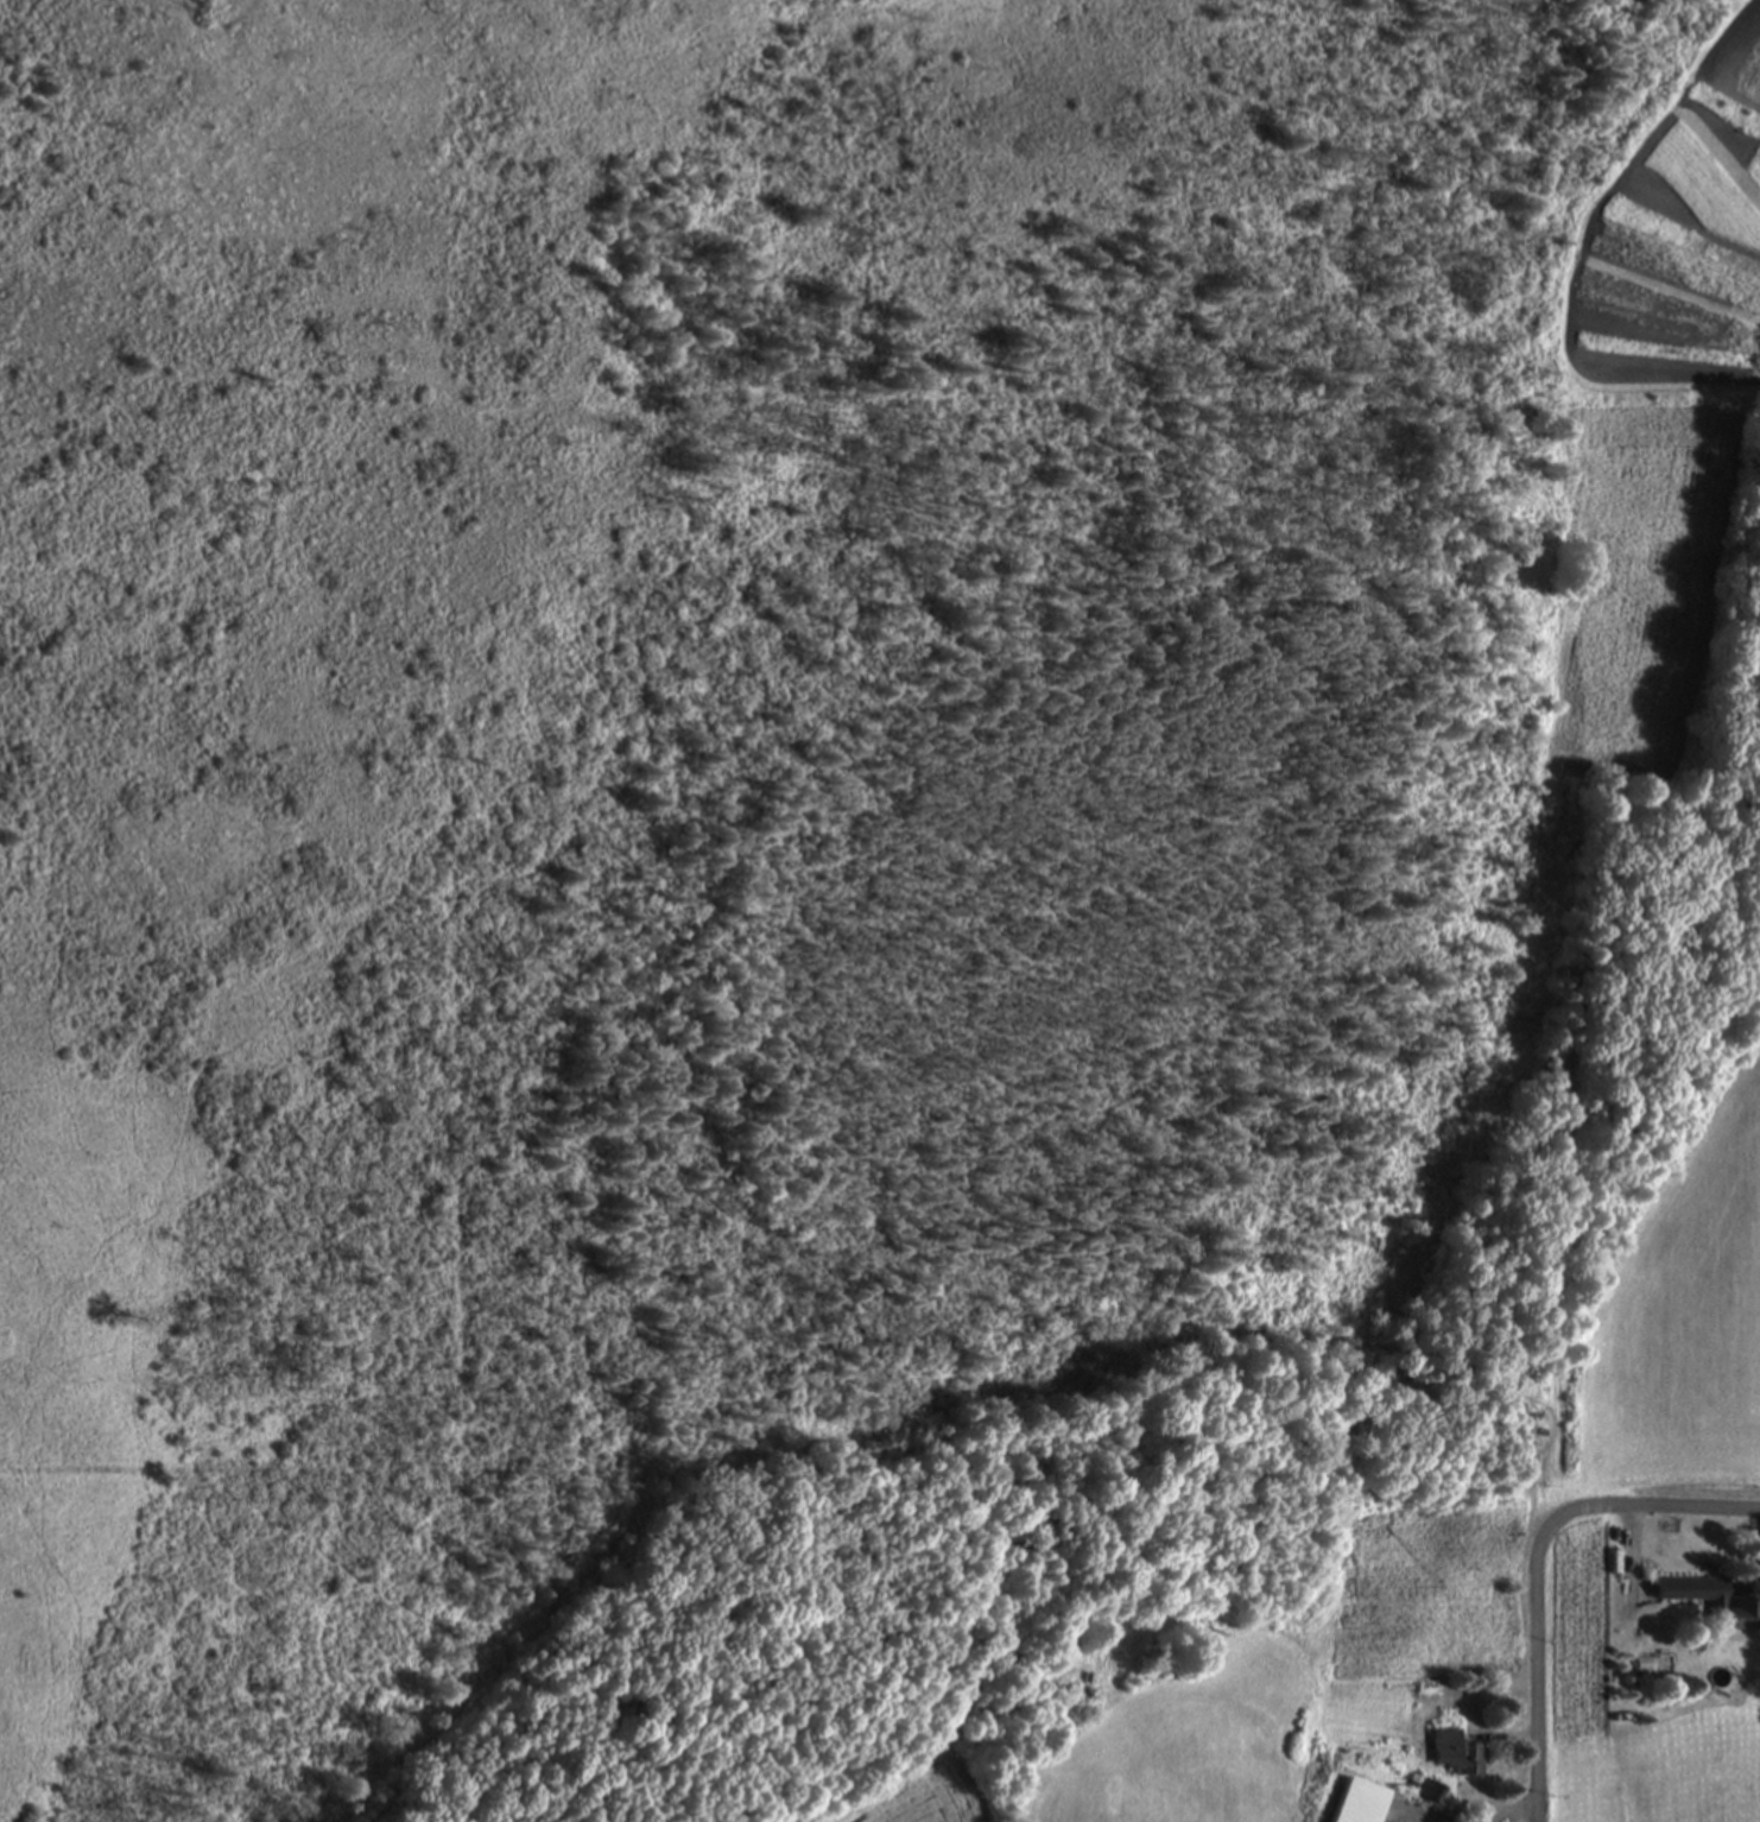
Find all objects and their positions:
road: (1539, 1564)
building: (1711, 1605)
building: (1457, 1758)
road: (1464, 1805)

